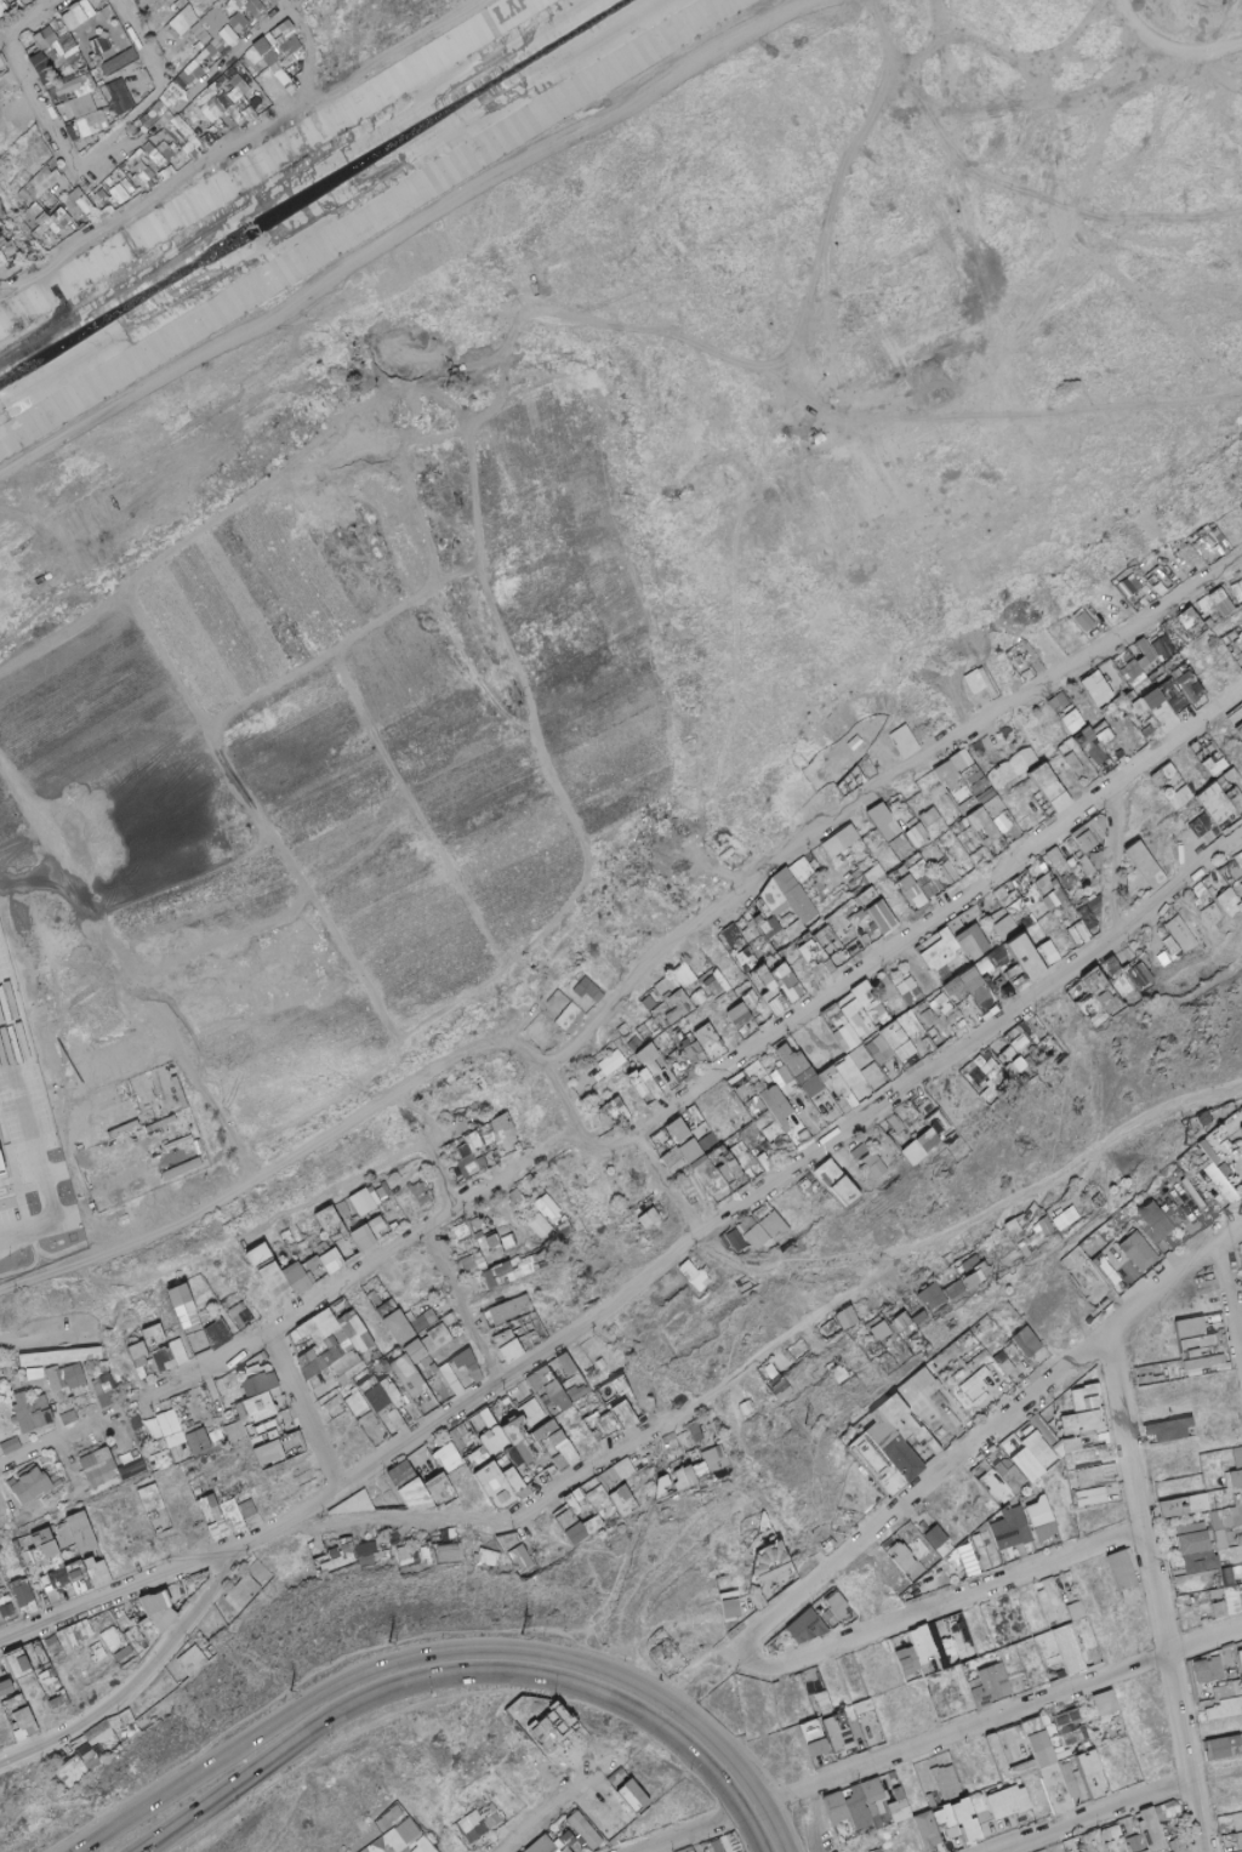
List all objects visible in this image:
crop: (116, 760)
parking lot: (29, 1122)
power tower: (1177, 1142)
power tower: (1237, 1212)
power tower: (985, 1282)
power tower: (796, 1428)
power tower: (513, 1635)
power tower: (378, 1642)
power tower: (281, 1691)

